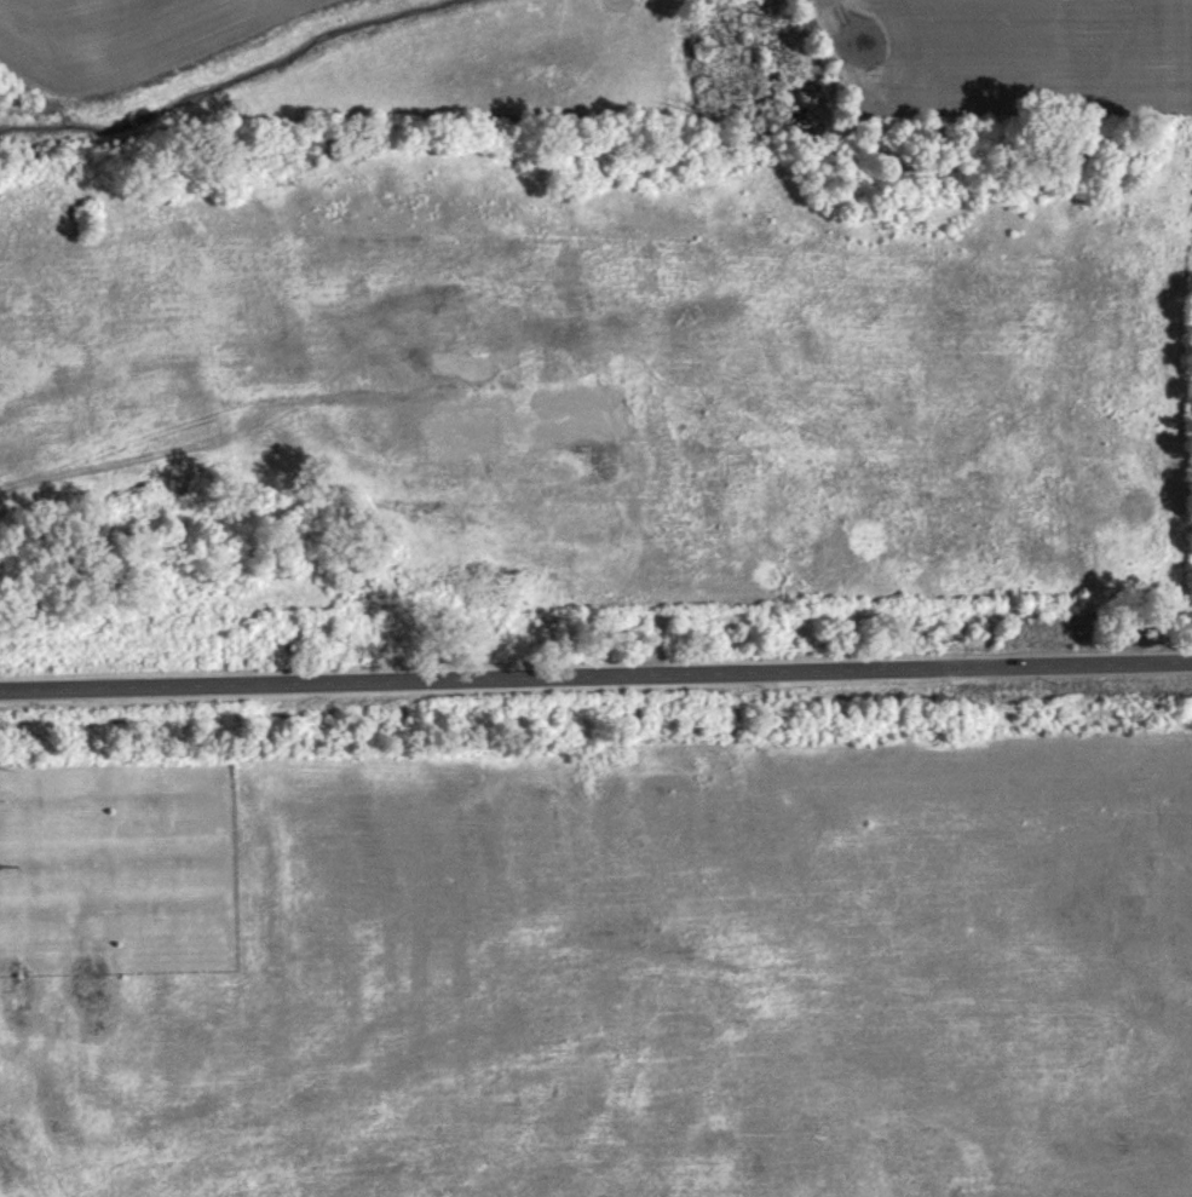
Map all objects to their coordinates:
road: (595, 677)

